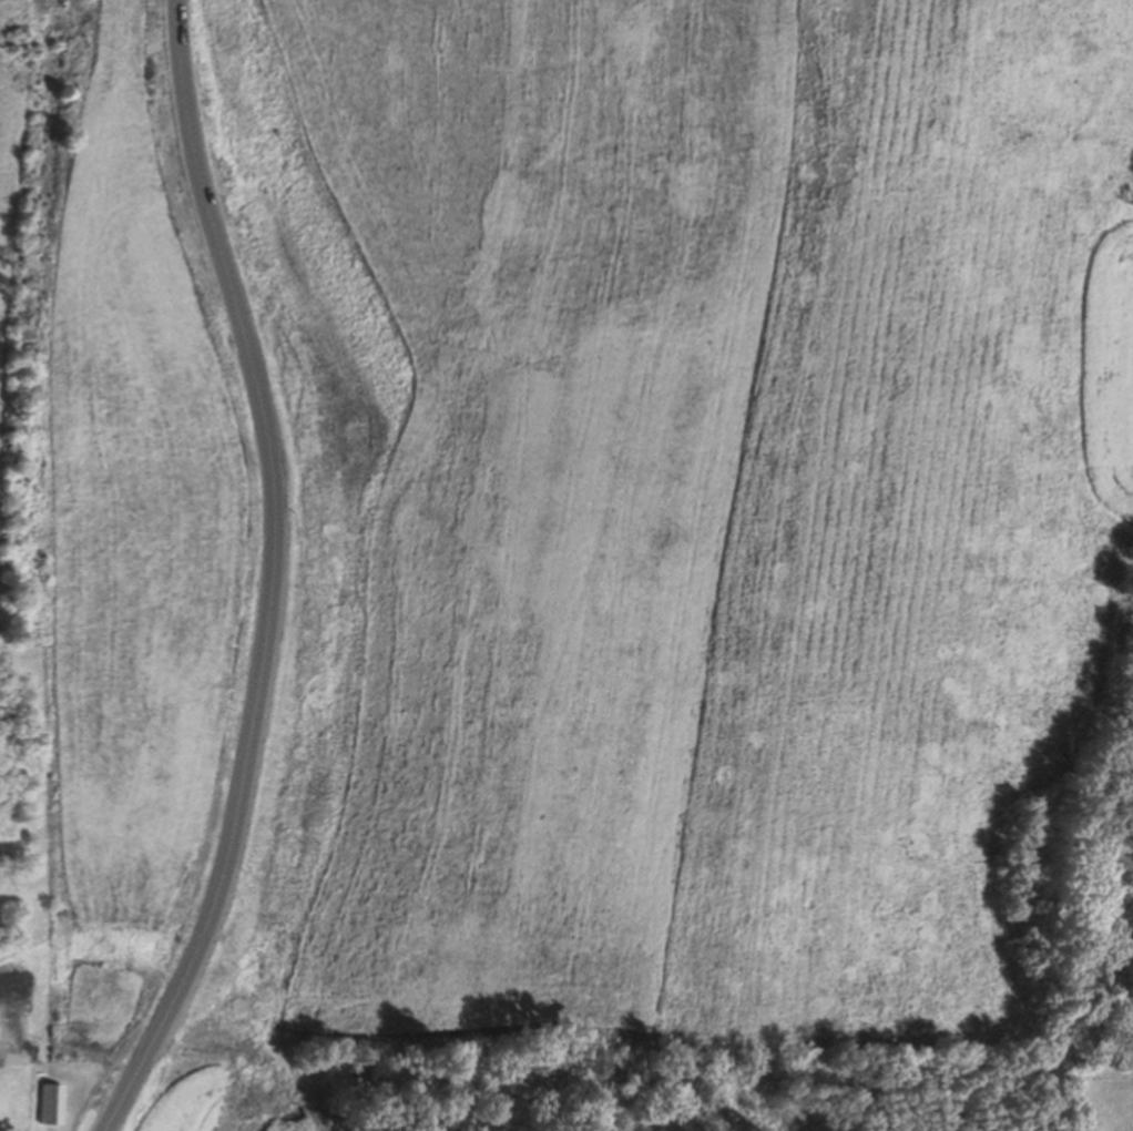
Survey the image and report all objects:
road: (269, 574)
building: (45, 1103)
building: (6, 1104)

